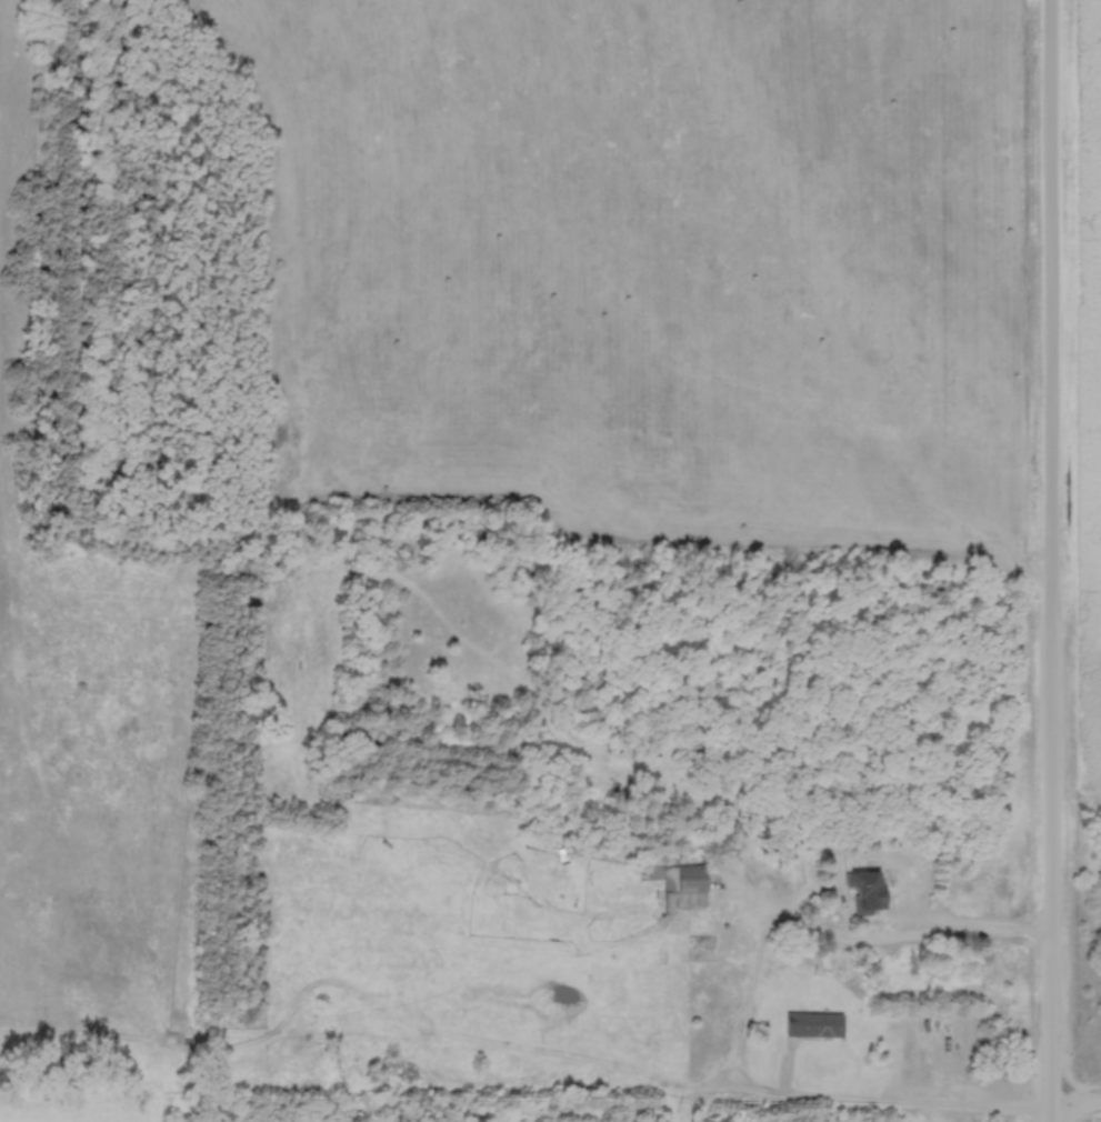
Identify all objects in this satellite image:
road: (1055, 560)
building: (516, 880)
building: (688, 889)
building: (872, 894)
building: (702, 944)
road: (753, 1013)
building: (817, 1026)
road: (1079, 1113)

